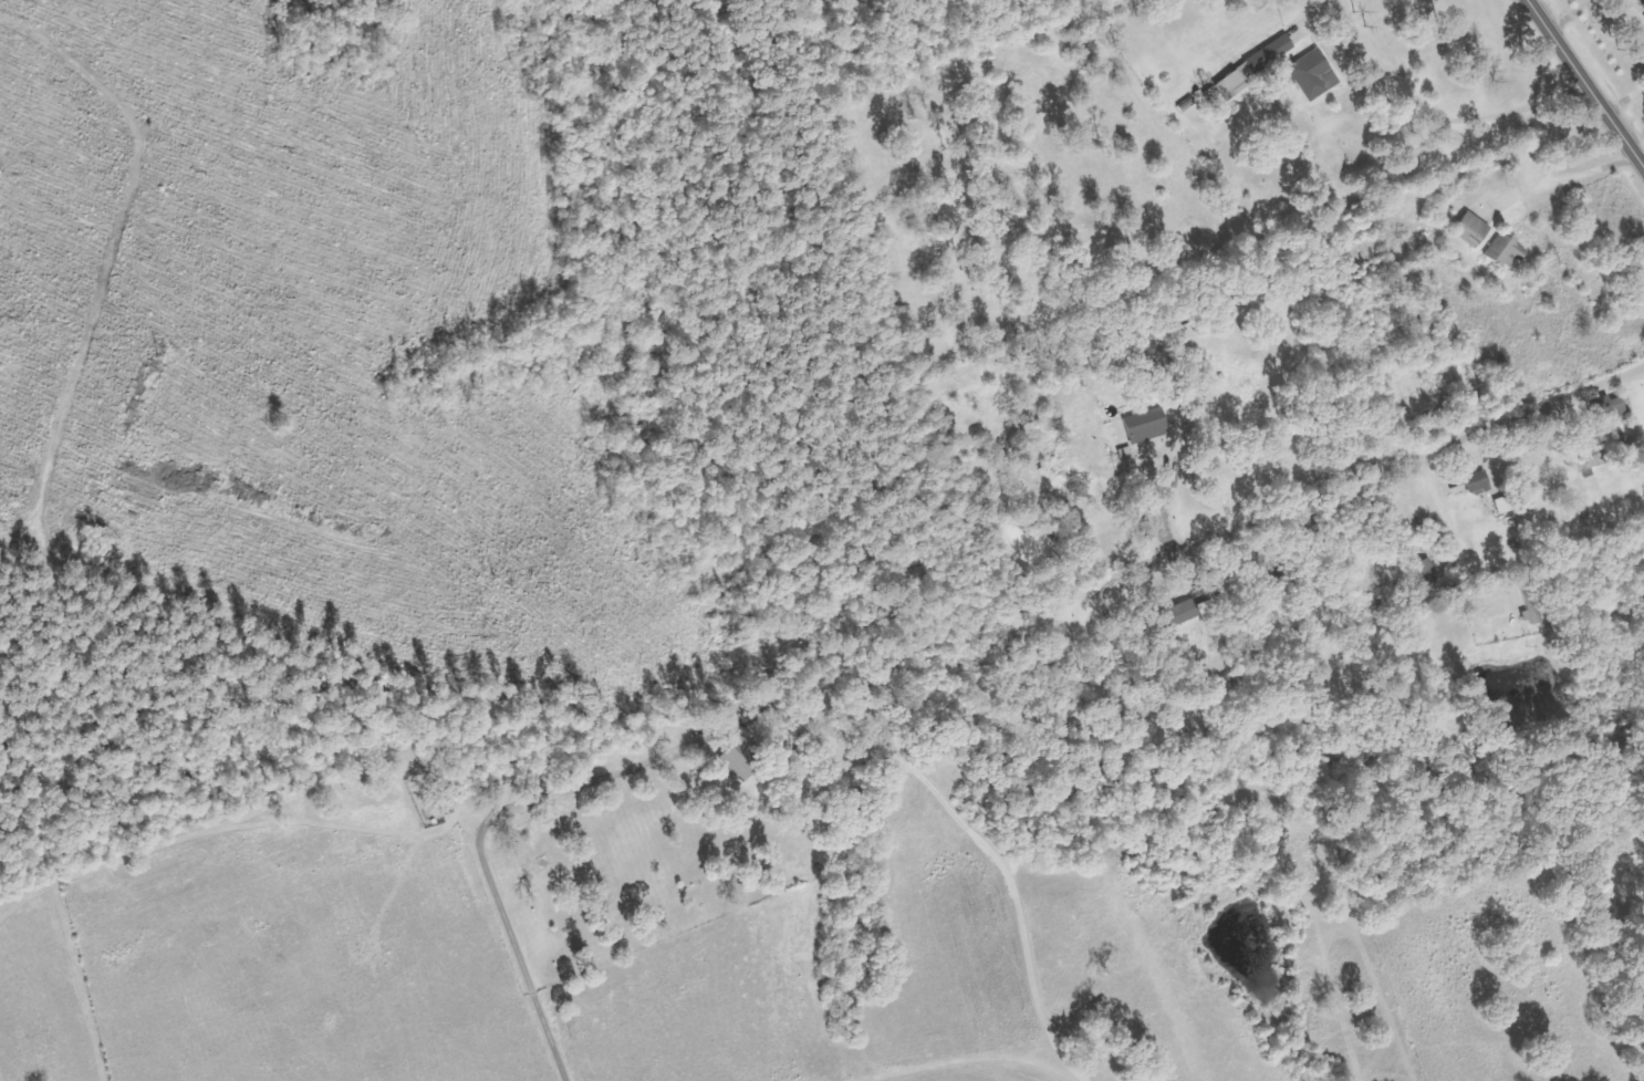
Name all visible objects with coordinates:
building: (1643, 6)
building: (1266, 58)
building: (1314, 75)
building: (1284, 80)
road: (1585, 84)
building: (1473, 230)
building: (1507, 251)
building: (1611, 408)
building: (1591, 455)
road: (1398, 465)
building: (1478, 481)
building: (1428, 576)
building: (1180, 613)
building: (741, 758)

